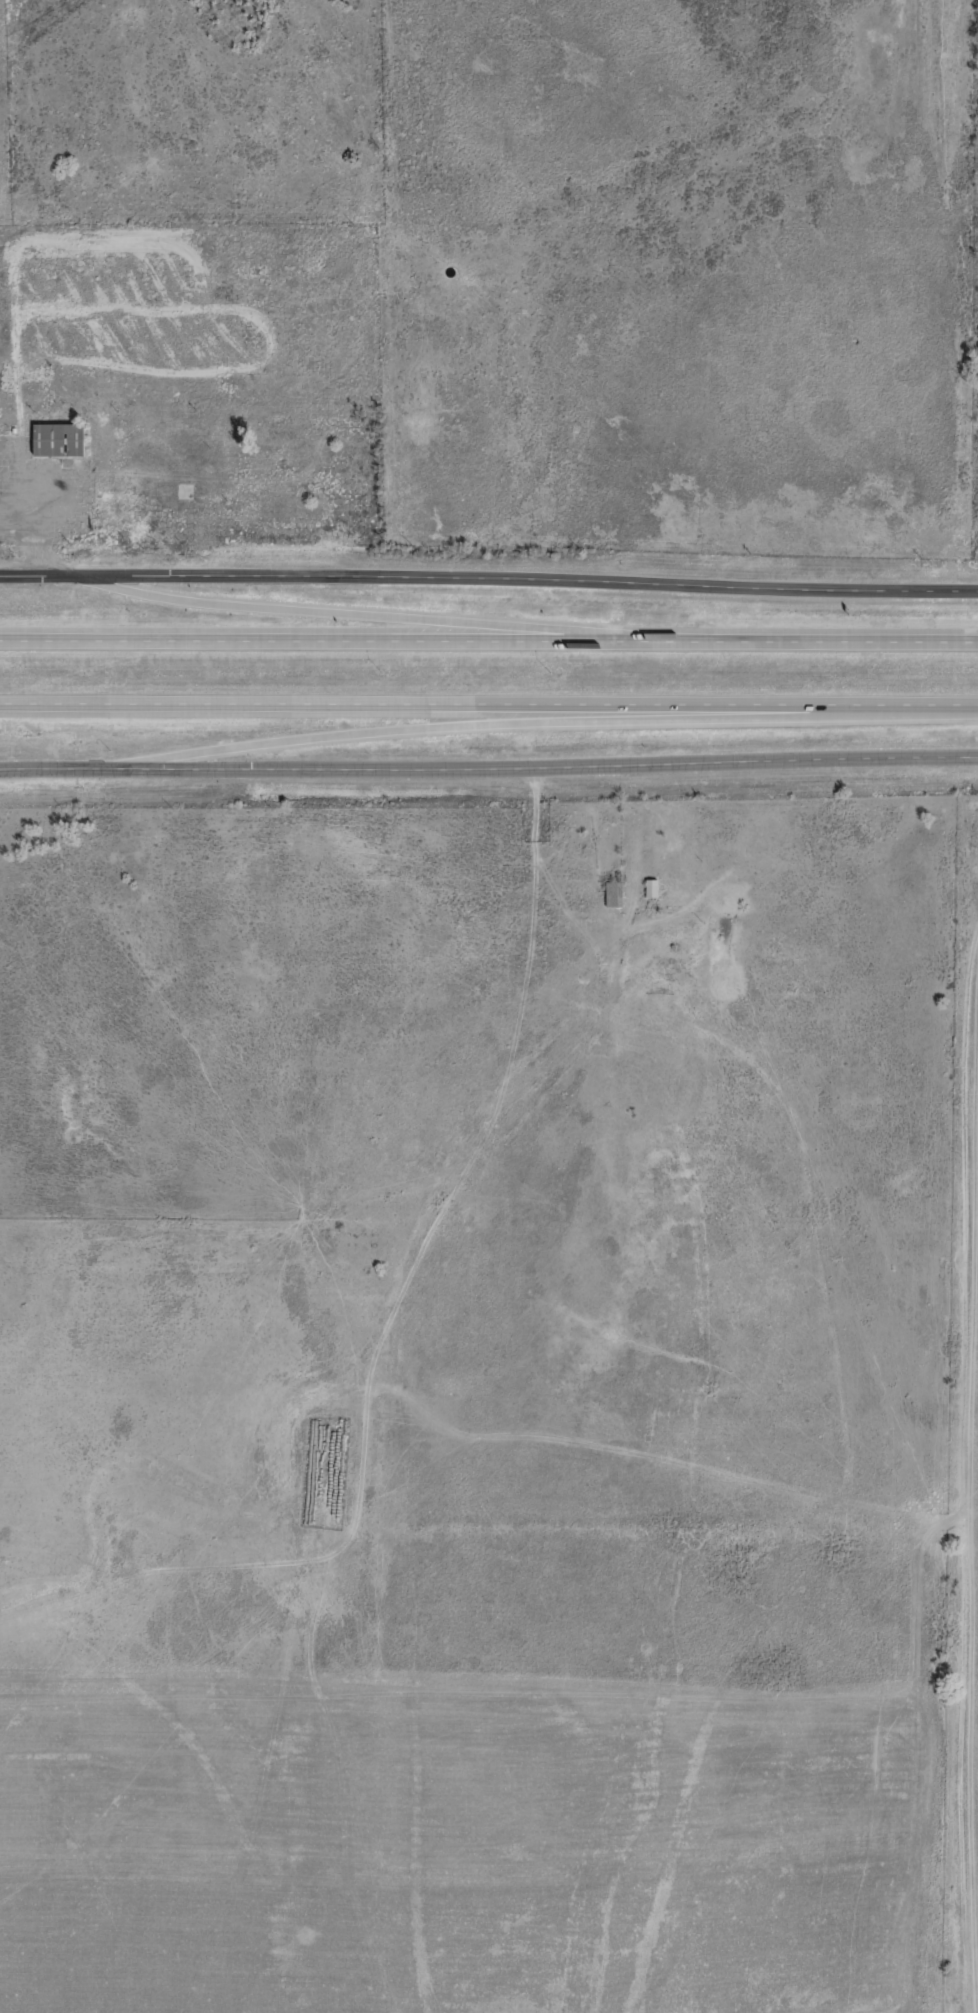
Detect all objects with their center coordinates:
building: (55, 438)
building: (185, 490)
road: (33, 528)
road: (489, 574)
road: (389, 611)
road: (488, 637)
road: (489, 708)
road: (461, 725)
road: (54, 764)
road: (543, 765)
building: (650, 887)
building: (613, 893)

